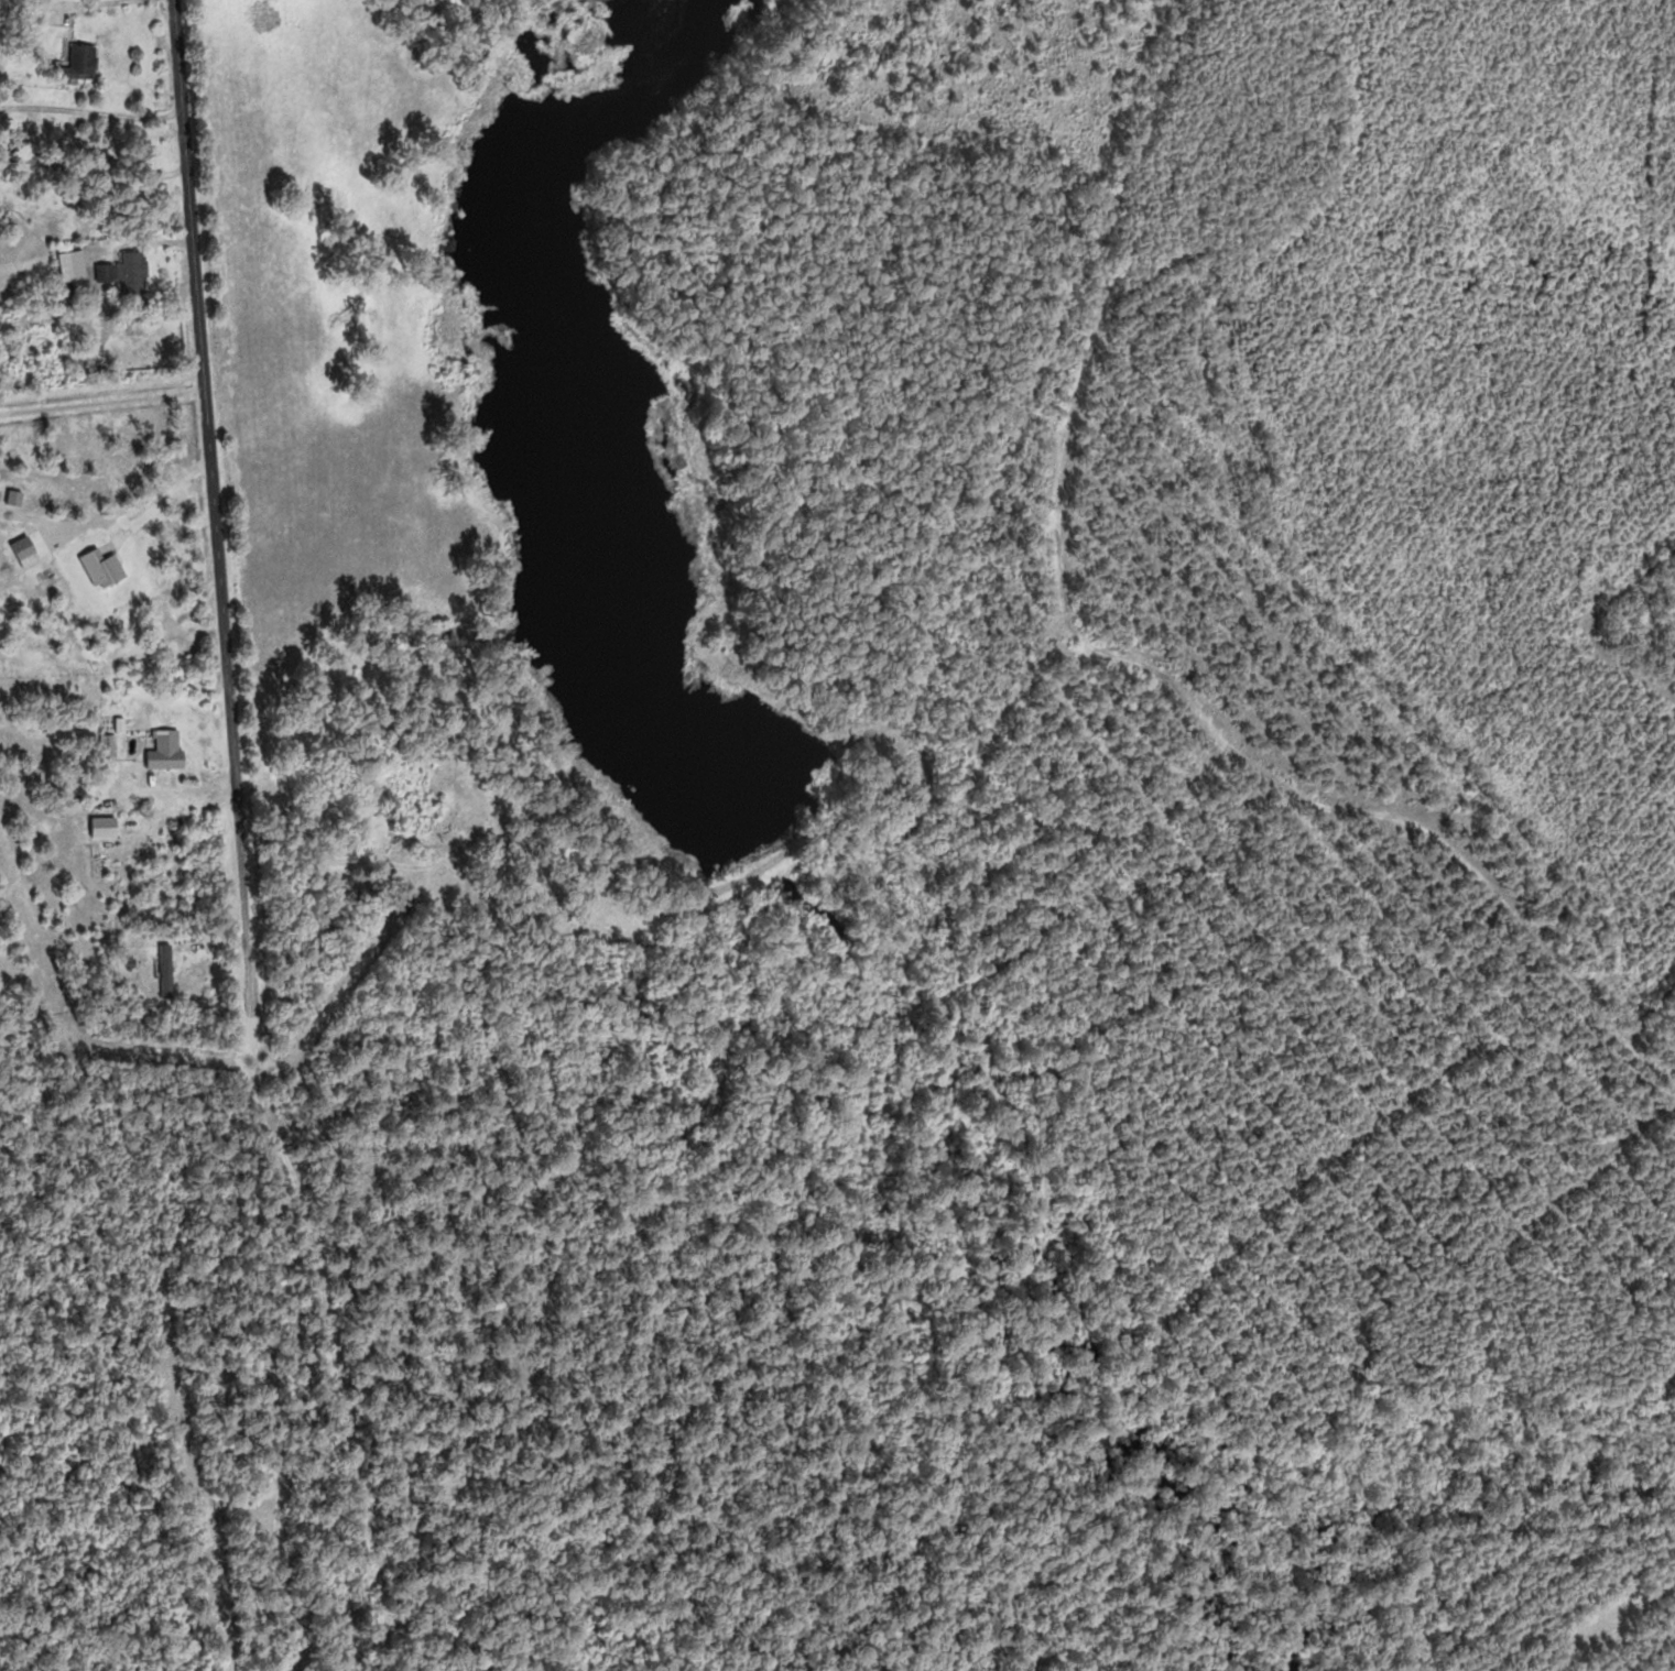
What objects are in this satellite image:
building: (85, 61)
building: (74, 265)
building: (126, 269)
road: (222, 474)
building: (168, 749)
building: (416, 810)
building: (167, 976)

